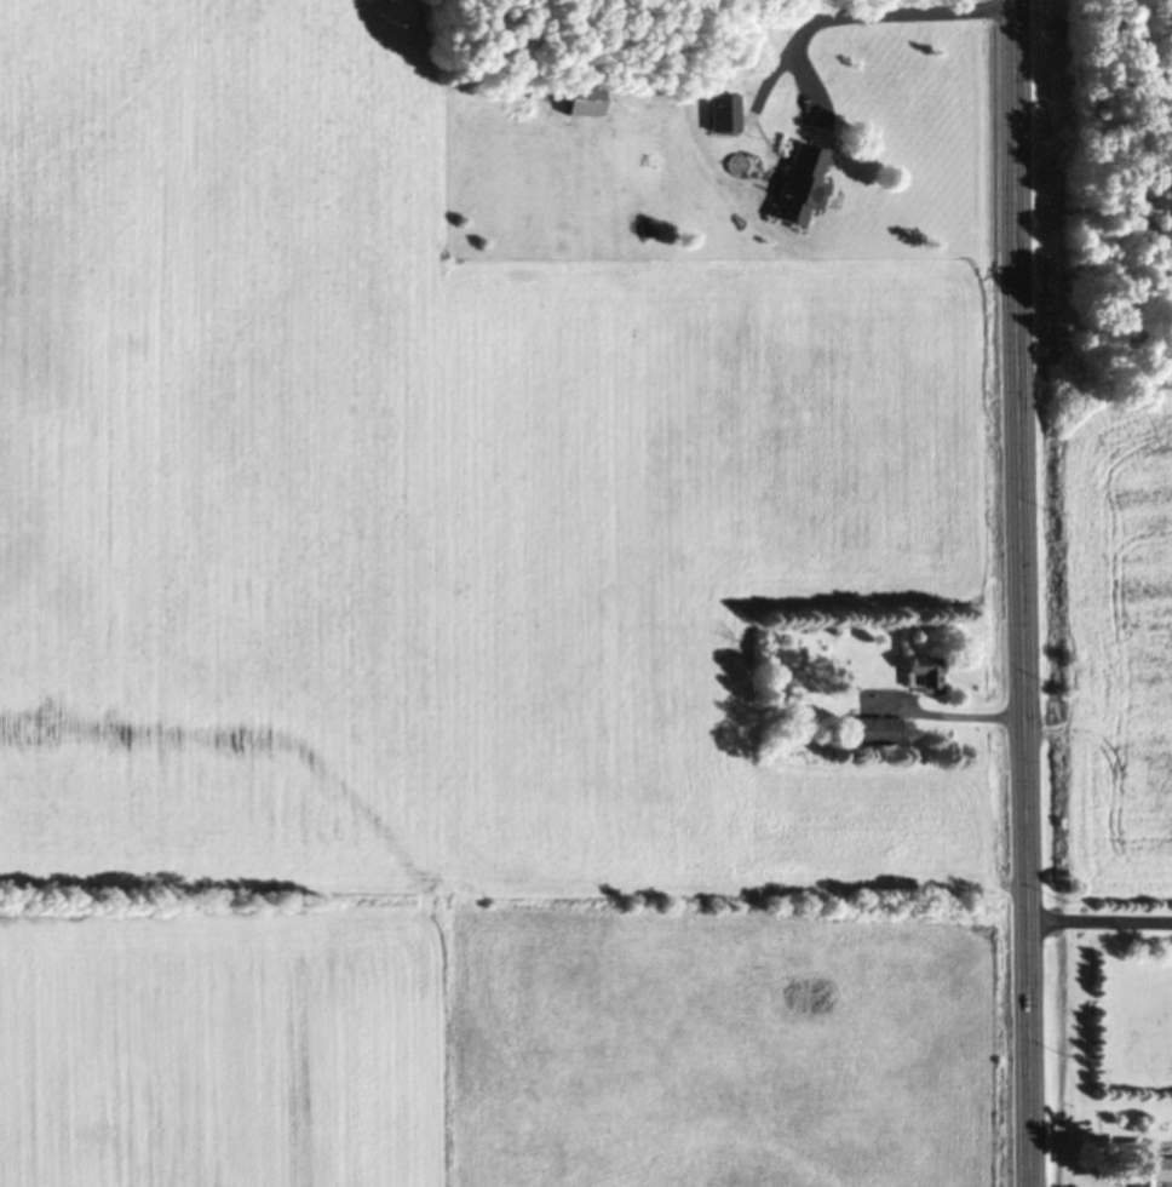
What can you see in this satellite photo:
building: (582, 98)
building: (723, 110)
building: (799, 183)
road: (1017, 593)
building: (919, 672)
building: (868, 728)
building: (1147, 1169)

